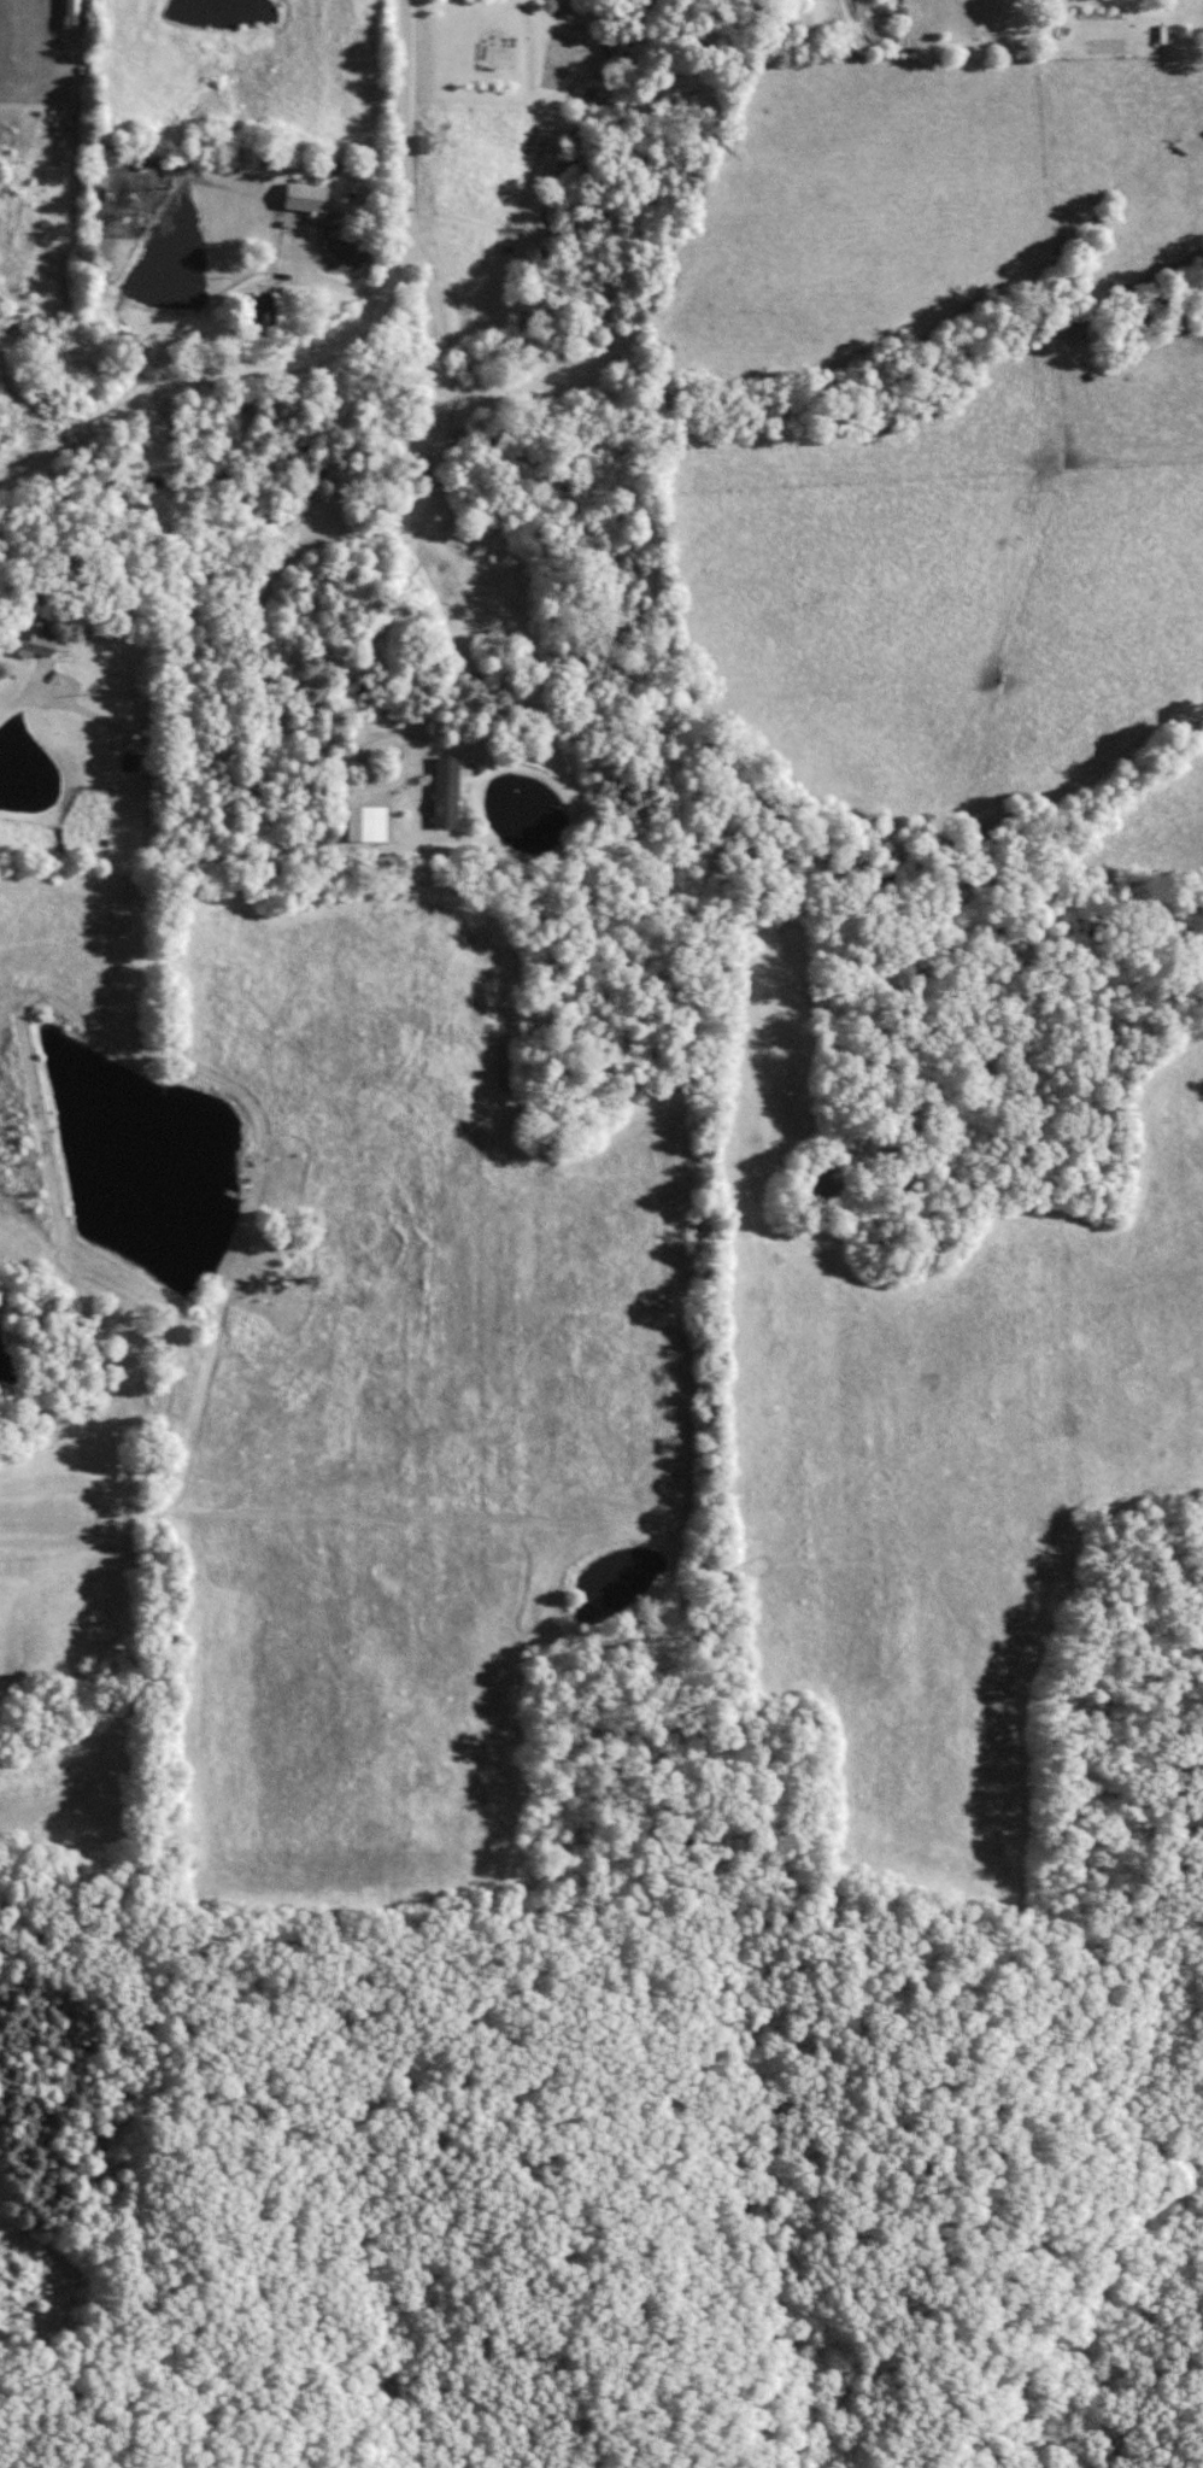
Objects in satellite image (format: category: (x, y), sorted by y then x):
building: (71, 13)
building: (303, 197)
building: (257, 309)
road: (341, 352)
road: (341, 535)
building: (30, 640)
road: (30, 681)
building: (442, 791)
building: (365, 822)

